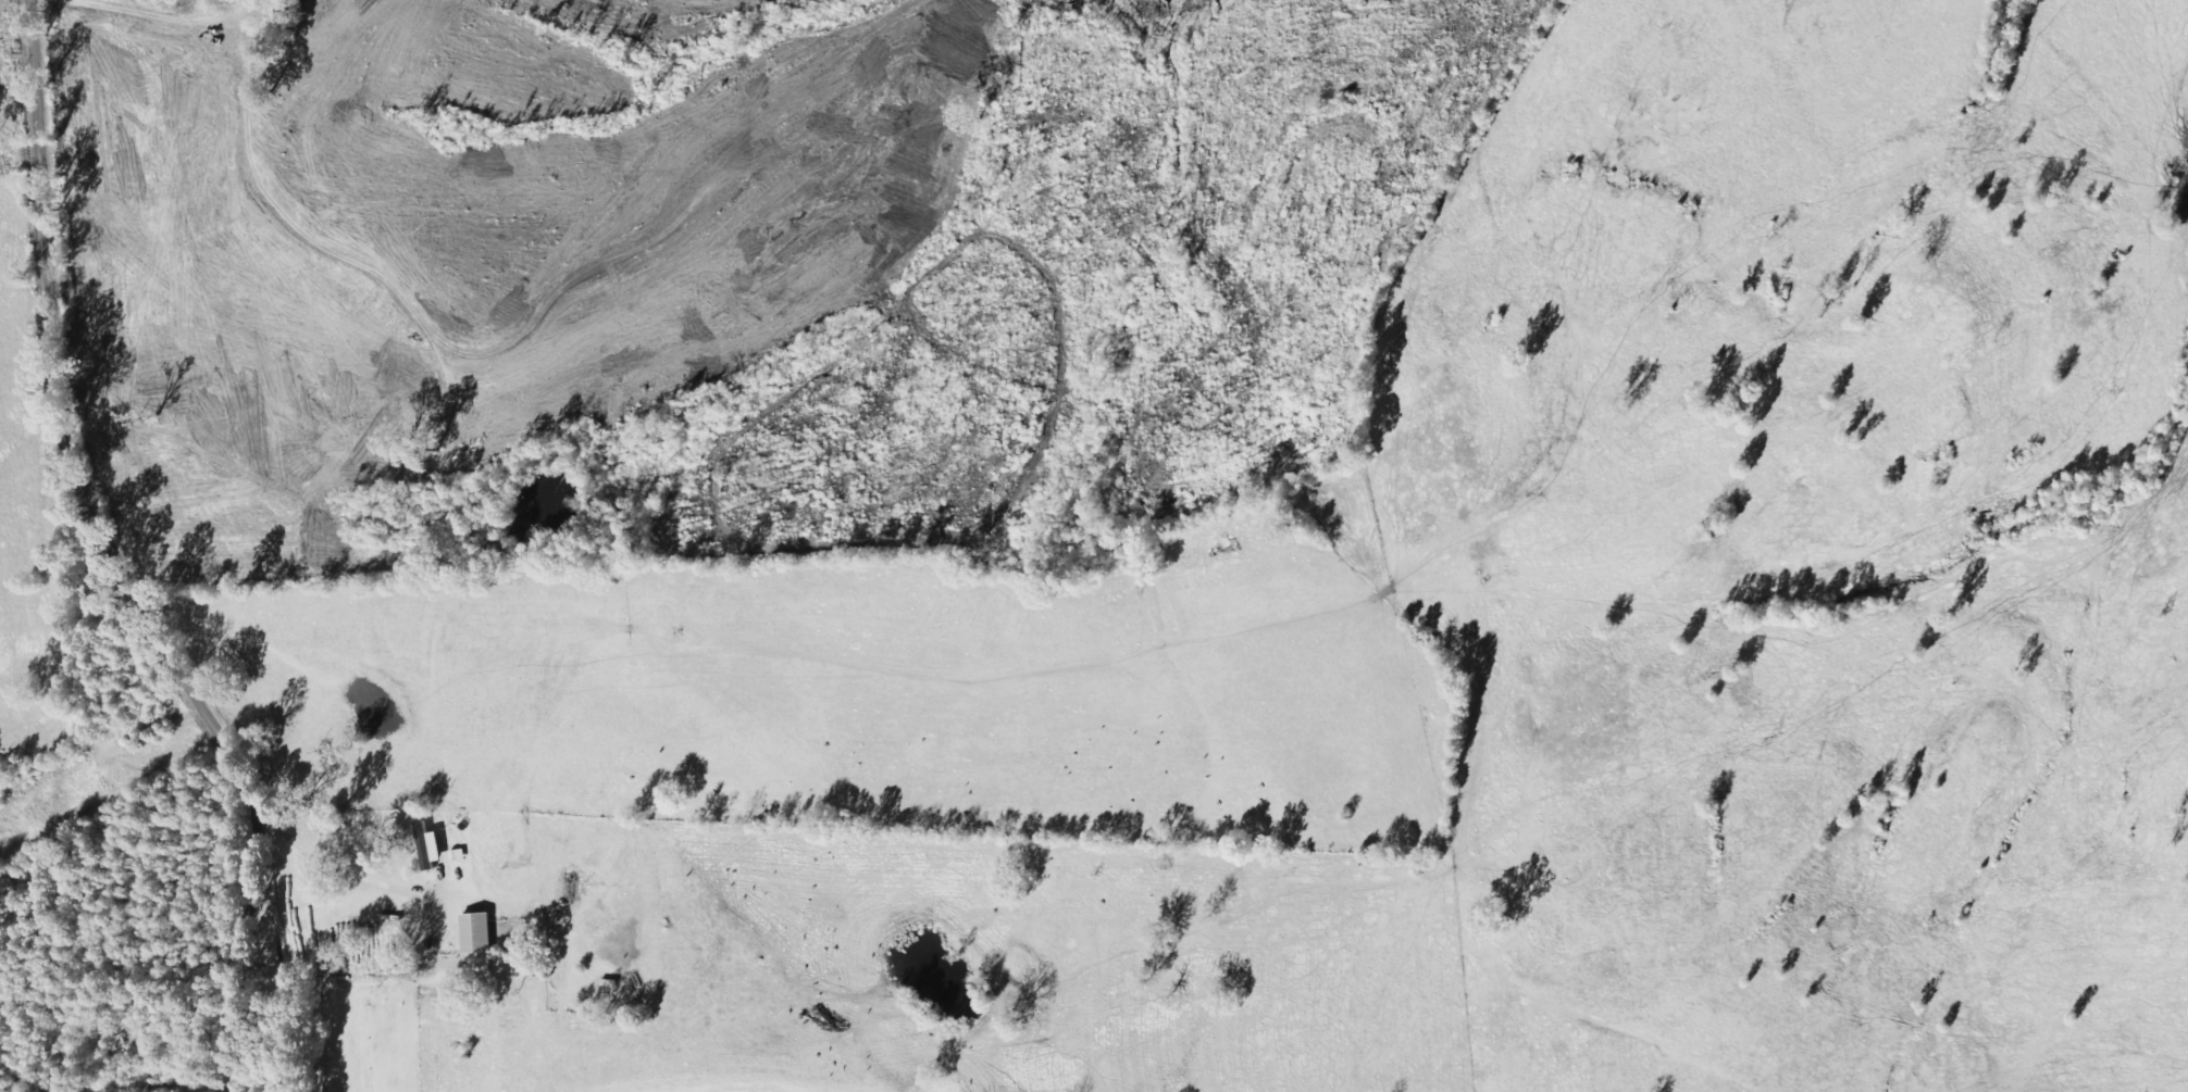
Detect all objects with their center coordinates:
road: (122, 561)
road: (75, 689)
building: (426, 846)
building: (475, 934)

